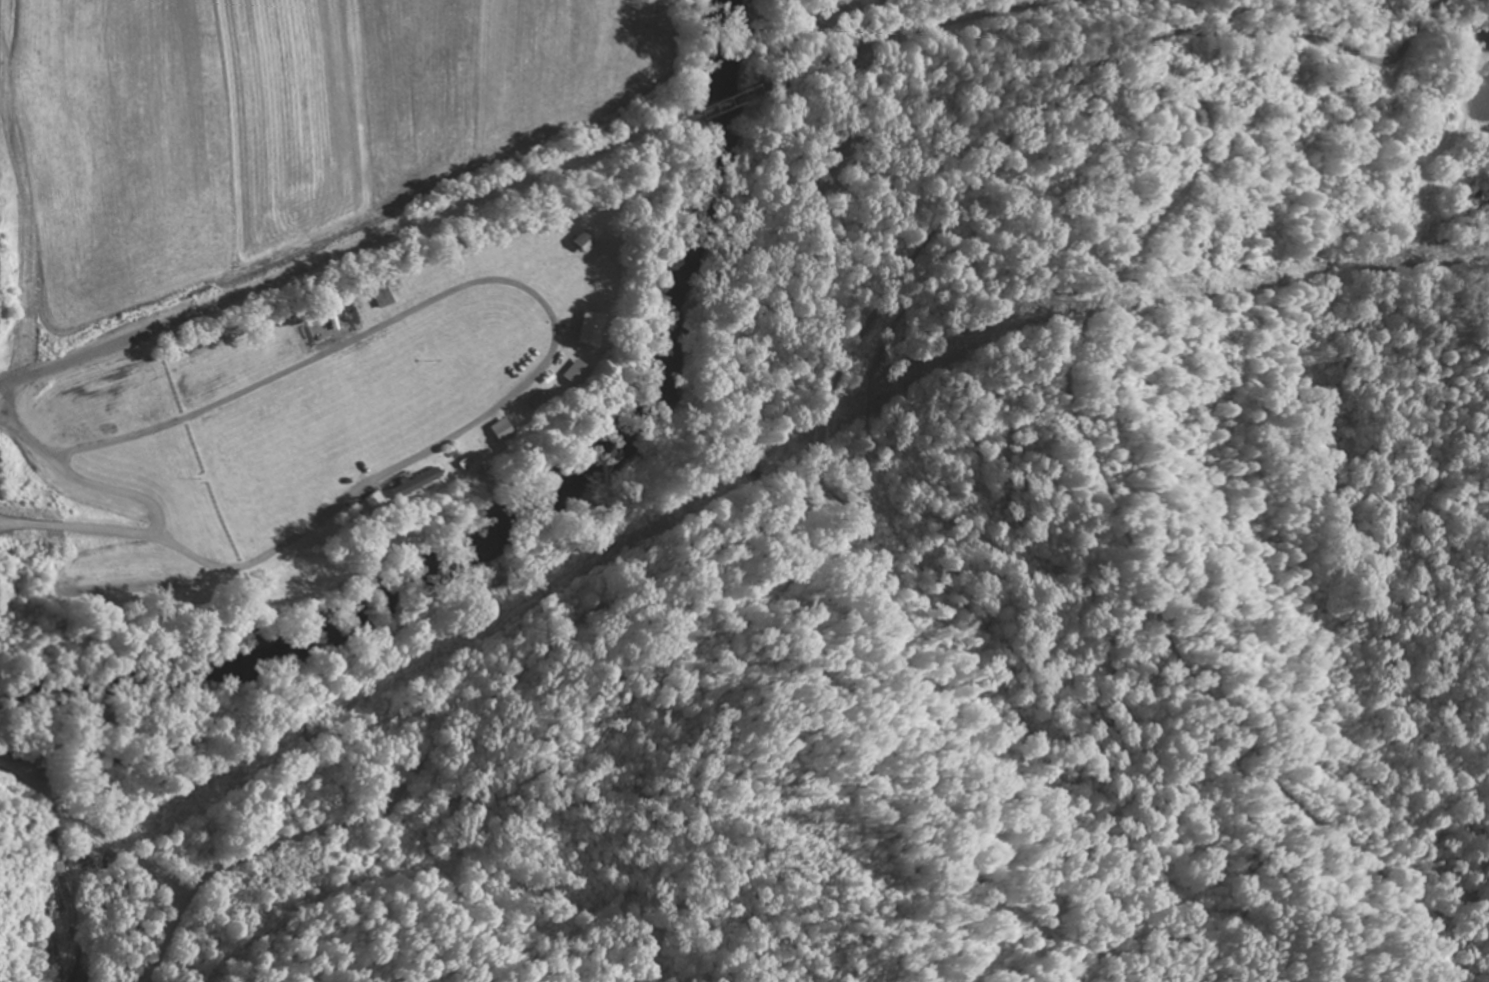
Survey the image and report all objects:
road: (916, 32)
road: (707, 110)
building: (578, 244)
road: (326, 265)
building: (390, 294)
building: (567, 375)
building: (494, 432)
building: (409, 485)
river: (526, 508)
road: (231, 524)
road: (694, 557)
road: (709, 600)
road: (124, 852)

